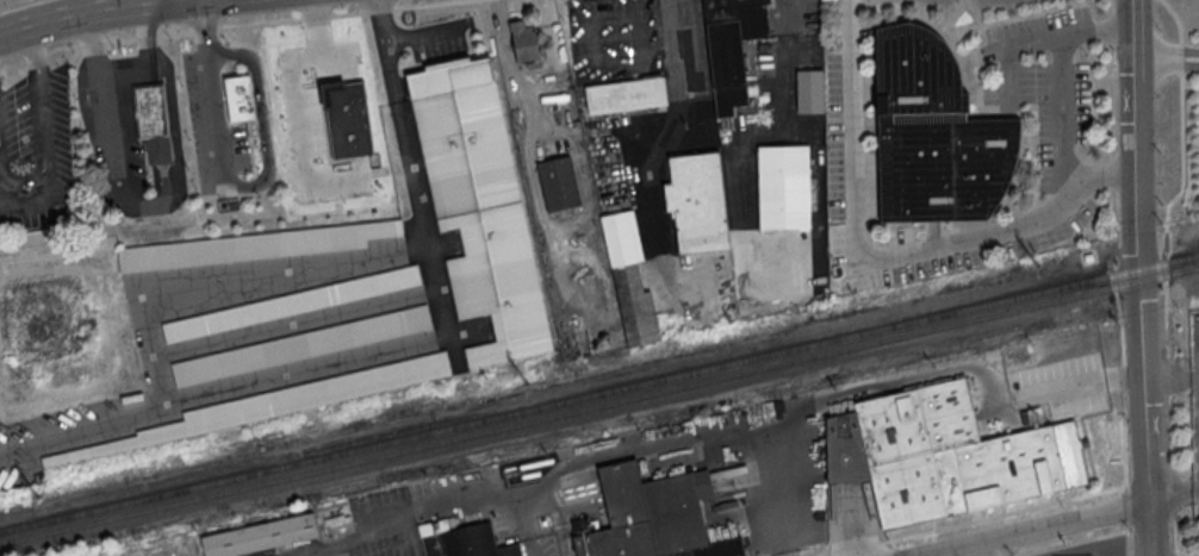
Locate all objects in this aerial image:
road: (80, 14)
road: (348, 14)
road: (204, 24)
road: (1131, 29)
road: (408, 33)
road: (107, 42)
building: (524, 45)
building: (732, 46)
road: (1166, 58)
building: (810, 89)
building: (626, 94)
road: (41, 99)
building: (241, 101)
building: (153, 120)
parking lot: (212, 129)
road: (851, 132)
building: (933, 136)
parking lot: (35, 148)
road: (5, 168)
road: (1182, 177)
road: (263, 179)
road: (1100, 179)
building: (559, 182)
road: (1113, 182)
building: (783, 187)
road: (1066, 194)
road: (35, 202)
building: (698, 204)
building: (478, 207)
road: (155, 210)
building: (254, 244)
power tower: (1042, 265)
building: (629, 279)
building: (291, 302)
road: (1138, 307)
building: (302, 344)
road: (1168, 375)
road: (1123, 376)
road: (263, 380)
power tower: (533, 388)
railway: (598, 393)
building: (271, 406)
railway: (599, 406)
road: (1169, 430)
road: (83, 432)
building: (944, 457)
road: (1173, 489)
road: (1174, 492)
power tower: (41, 500)
road: (1126, 502)
road: (1017, 508)
building: (653, 516)
road: (1031, 526)
building: (260, 536)
road: (1175, 536)
road: (1126, 538)
building: (460, 541)
road: (1068, 542)
building: (1071, 555)
road: (1176, 555)

